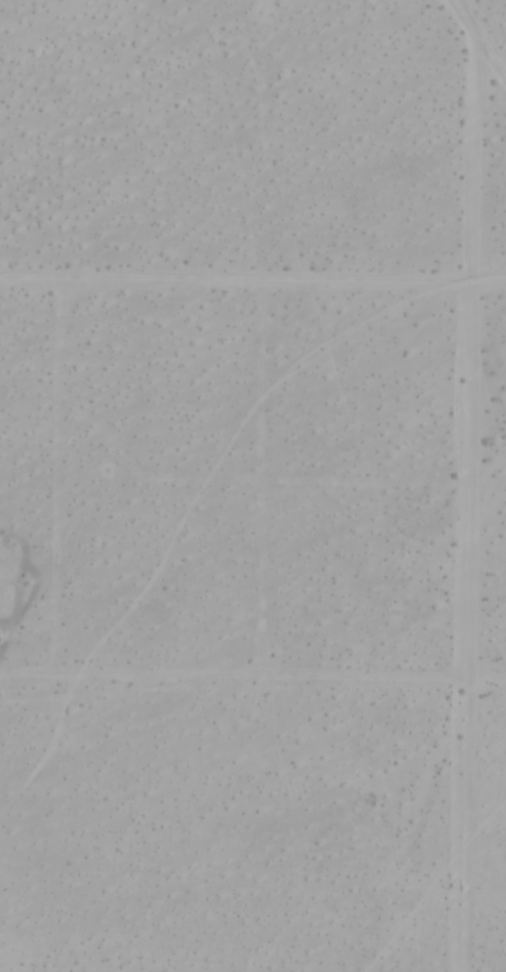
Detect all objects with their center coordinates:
road: (479, 36)
road: (253, 285)
road: (468, 629)

